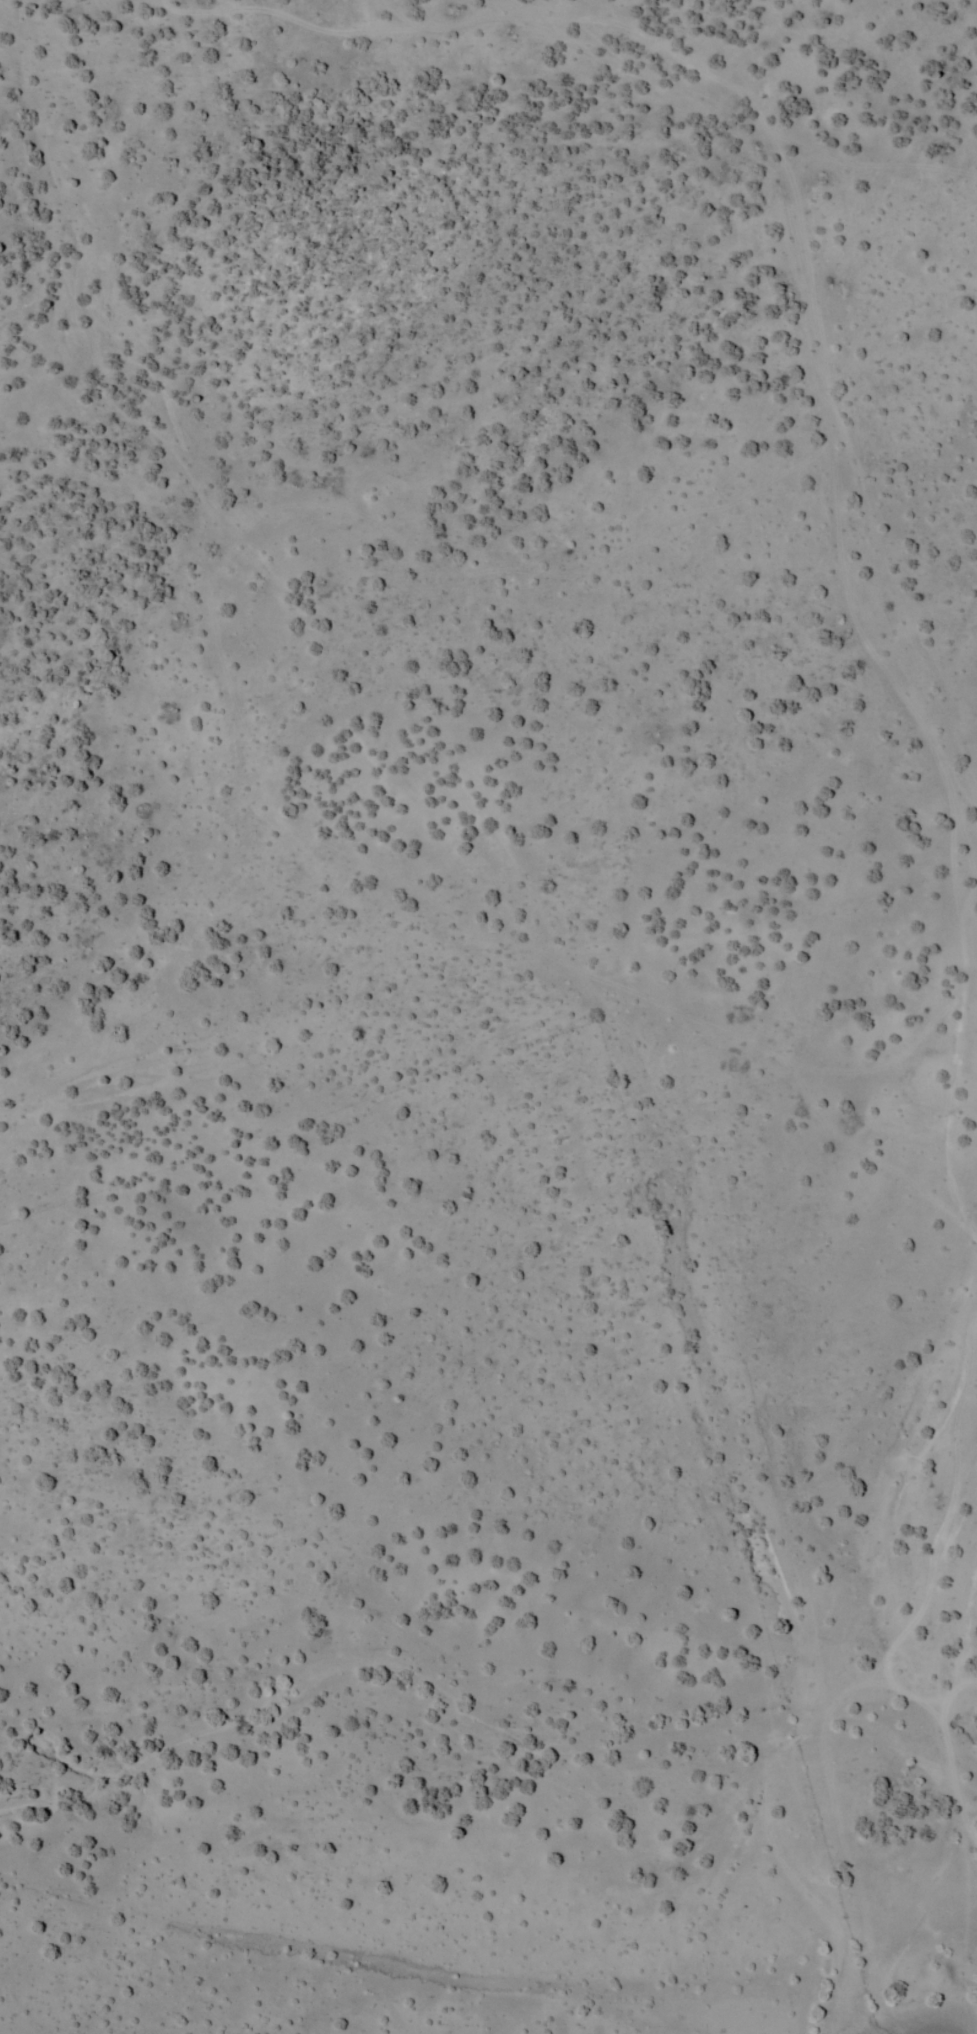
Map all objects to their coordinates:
road: (827, 1954)

